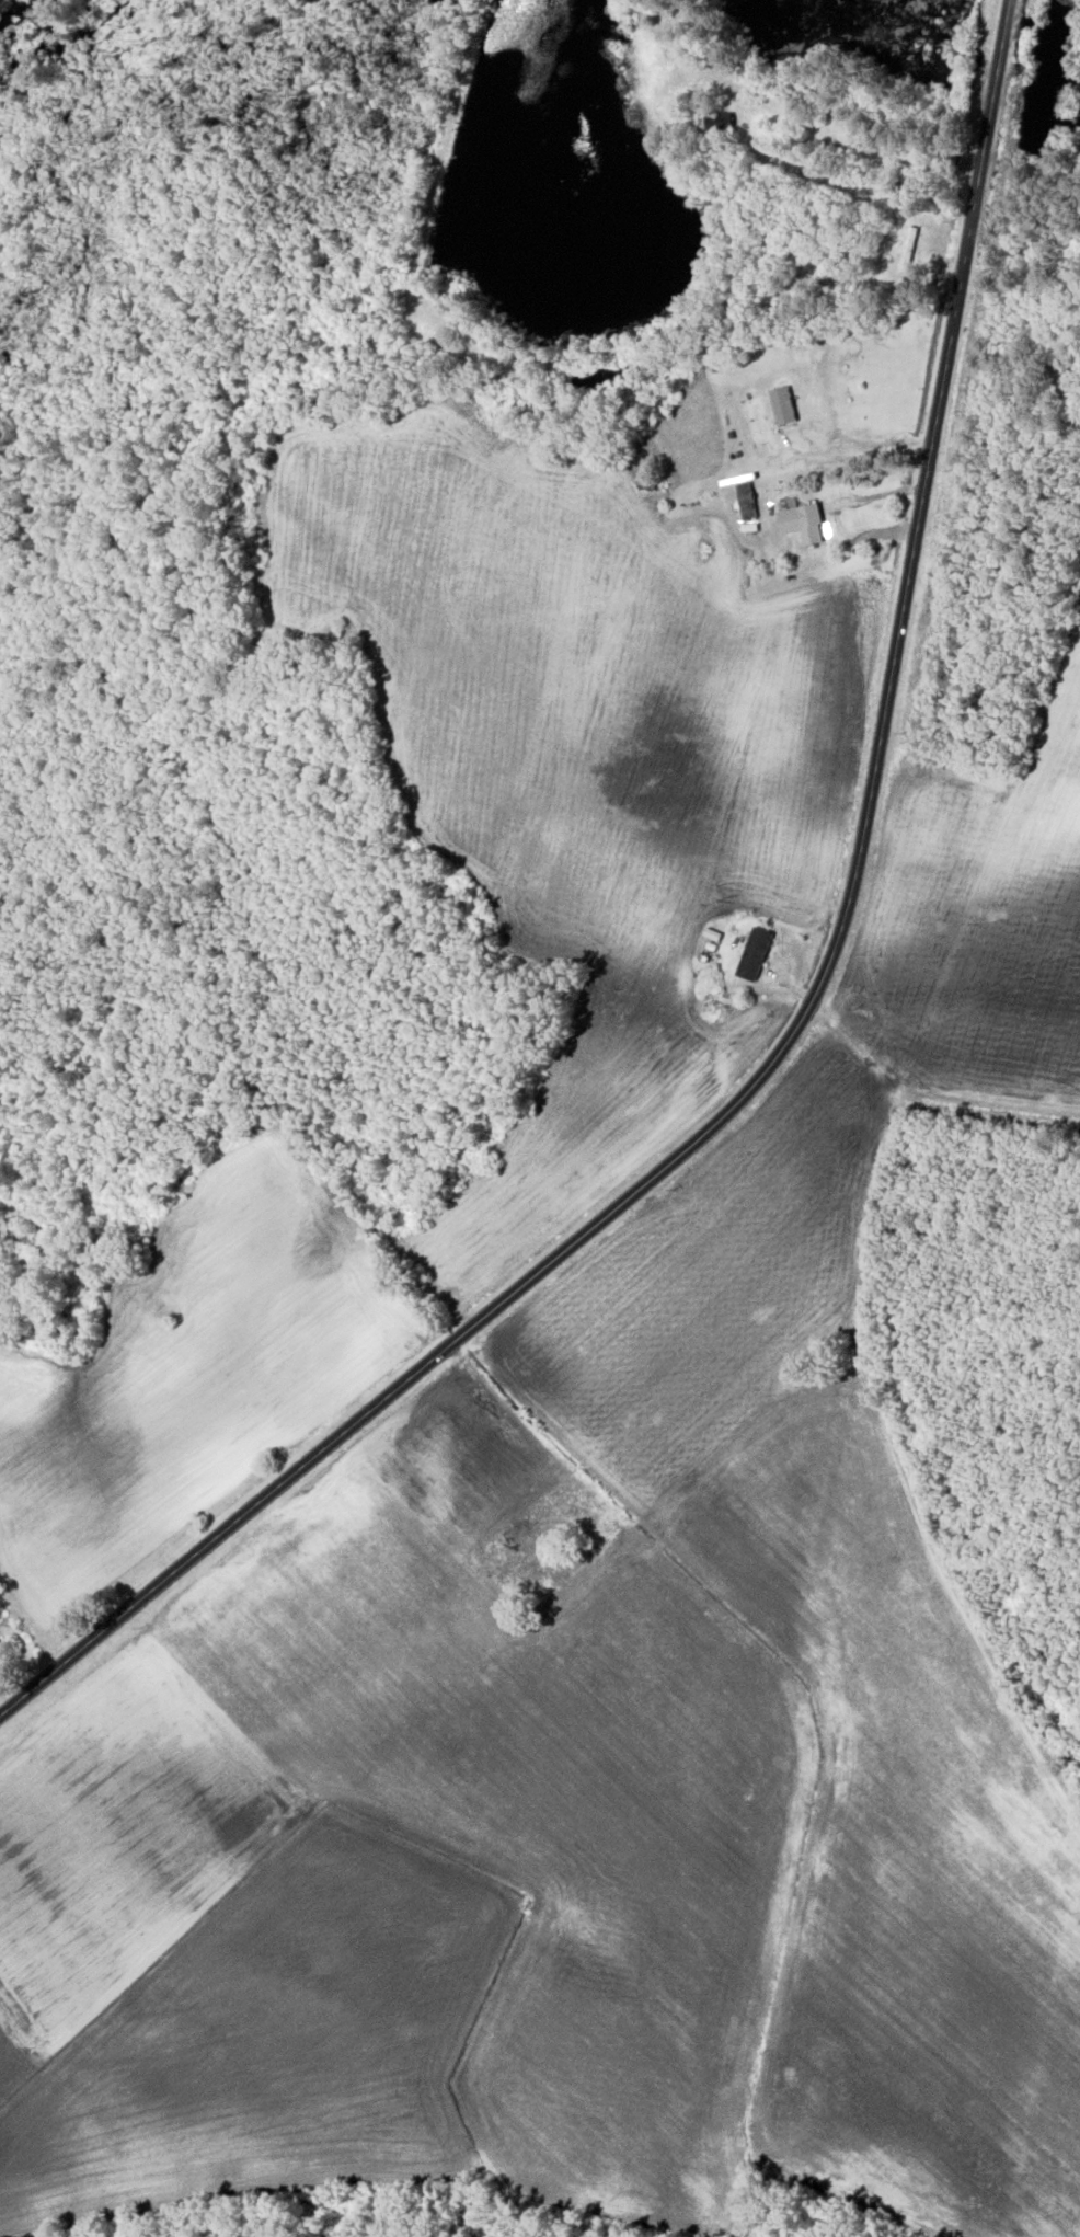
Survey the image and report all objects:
building: (907, 251)
building: (779, 406)
building: (798, 525)
building: (752, 956)
road: (793, 1026)
road: (924, 1109)
road: (898, 1470)
road: (788, 1682)

